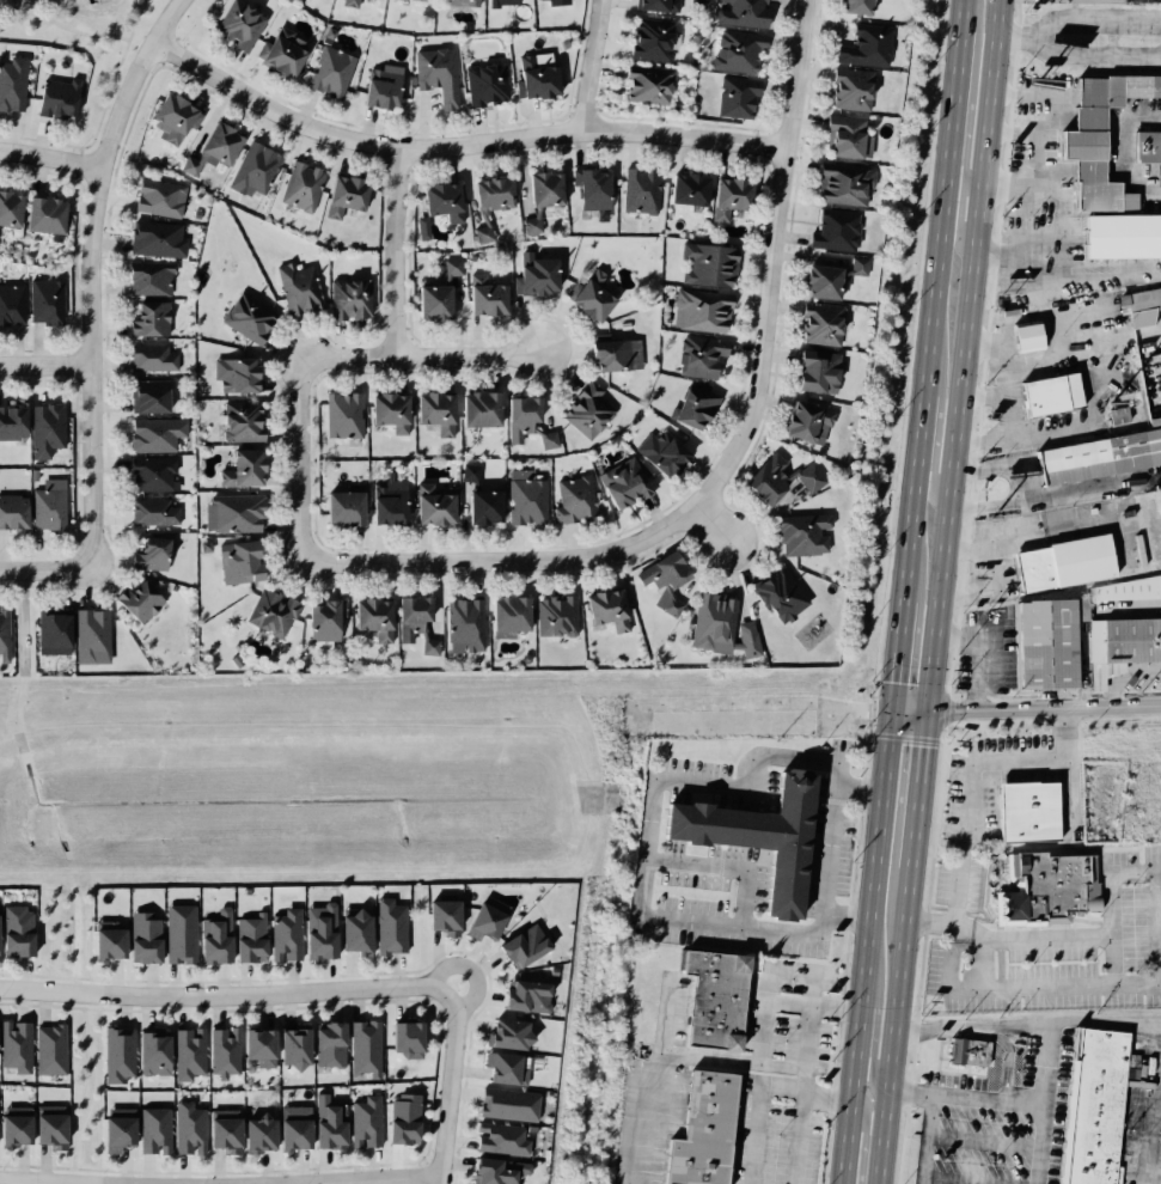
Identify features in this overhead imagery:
building: (424, 0)
building: (460, 0)
building: (350, 1)
building: (497, 2)
building: (561, 2)
building: (644, 4)
building: (851, 7)
building: (739, 13)
road: (1077, 22)
building: (234, 24)
road: (61, 25)
building: (648, 37)
building: (862, 43)
park: (85, 44)
building: (738, 49)
building: (280, 51)
road: (1094, 59)
road: (582, 65)
building: (434, 72)
building: (328, 73)
building: (532, 79)
road: (110, 81)
building: (641, 81)
building: (484, 83)
building: (11, 84)
building: (378, 85)
building: (851, 90)
road: (1008, 91)
building: (55, 94)
building: (735, 97)
building: (172, 116)
road: (1010, 133)
building: (1094, 134)
building: (843, 135)
road: (456, 140)
building: (1144, 145)
building: (212, 146)
road: (1034, 146)
road: (49, 158)
building: (253, 171)
building: (839, 181)
road: (973, 181)
building: (686, 184)
building: (589, 187)
building: (640, 188)
road: (964, 188)
building: (299, 189)
building: (344, 194)
building: (533, 196)
building: (157, 199)
building: (728, 199)
building: (485, 201)
building: (438, 203)
road: (776, 206)
building: (7, 209)
building: (41, 214)
building: (838, 224)
building: (484, 234)
building: (1118, 237)
building: (153, 239)
road: (395, 251)
building: (709, 266)
building: (452, 267)
building: (532, 269)
building: (818, 271)
road: (86, 274)
building: (146, 276)
building: (295, 286)
building: (349, 295)
building: (481, 295)
building: (43, 299)
building: (587, 300)
building: (432, 301)
building: (10, 304)
building: (1142, 307)
building: (699, 310)
building: (242, 313)
building: (145, 318)
building: (821, 325)
building: (1022, 338)
road: (927, 354)
road: (421, 355)
building: (701, 355)
road: (964, 355)
building: (148, 356)
building: (615, 358)
road: (43, 365)
building: (232, 373)
building: (813, 373)
building: (1148, 379)
building: (147, 393)
building: (1046, 396)
building: (693, 402)
building: (477, 408)
building: (385, 410)
building: (432, 411)
building: (591, 411)
building: (343, 416)
building: (519, 416)
building: (10, 421)
building: (238, 421)
building: (808, 422)
building: (45, 427)
building: (153, 433)
building: (545, 439)
building: (664, 453)
road: (305, 458)
building: (1098, 458)
building: (242, 465)
road: (934, 469)
building: (148, 472)
building: (771, 477)
building: (619, 482)
road: (1016, 488)
road: (1082, 489)
building: (524, 496)
building: (478, 498)
building: (573, 498)
building: (385, 502)
building: (432, 502)
building: (47, 503)
building: (340, 507)
building: (12, 508)
building: (152, 511)
building: (226, 512)
road: (708, 526)
building: (799, 533)
building: (148, 554)
road: (562, 560)
building: (239, 561)
building: (1061, 563)
road: (44, 570)
building: (667, 573)
road: (997, 575)
building: (1125, 590)
building: (778, 591)
building: (138, 600)
building: (601, 609)
building: (506, 612)
building: (269, 614)
building: (409, 614)
building: (552, 616)
building: (374, 617)
building: (319, 620)
building: (714, 621)
building: (462, 627)
building: (49, 633)
building: (4, 634)
building: (88, 634)
building: (1128, 639)
building: (748, 642)
building: (1039, 642)
building: (428, 647)
road: (985, 647)
road: (1122, 676)
road: (1025, 708)
traffic signals: (891, 710)
traffic signals: (927, 712)
building: (732, 721)
road: (970, 795)
building: (1023, 810)
building: (759, 836)
road: (728, 866)
building: (1043, 886)
road: (638, 890)
building: (445, 915)
building: (485, 920)
road: (844, 920)
building: (390, 926)
building: (22, 930)
building: (320, 930)
building: (356, 933)
building: (139, 934)
building: (177, 934)
building: (285, 936)
building: (215, 938)
building: (251, 938)
road: (1032, 938)
building: (103, 941)
building: (528, 945)
road: (864, 946)
road: (902, 947)
road: (1159, 959)
road: (471, 968)
road: (228, 994)
building: (531, 995)
building: (713, 1000)
road: (765, 1025)
road: (1105, 1025)
road: (971, 1026)
building: (509, 1032)
building: (402, 1038)
building: (334, 1043)
building: (14, 1045)
building: (258, 1046)
building: (50, 1049)
building: (294, 1049)
building: (367, 1049)
building: (965, 1051)
building: (222, 1052)
road: (870, 1052)
building: (116, 1054)
building: (153, 1054)
building: (188, 1054)
building: (508, 1067)
road: (92, 1086)
park: (84, 1087)
road: (450, 1091)
road: (757, 1093)
road: (965, 1098)
building: (512, 1104)
road: (1043, 1104)
building: (1089, 1106)
building: (399, 1117)
building: (367, 1122)
building: (328, 1123)
building: (293, 1127)
road: (637, 1127)
building: (14, 1129)
building: (189, 1129)
parking lot: (986, 1129)
building: (50, 1130)
building: (154, 1130)
building: (697, 1130)
building: (116, 1131)
building: (225, 1133)
building: (257, 1135)
road: (863, 1135)
road: (921, 1139)
building: (505, 1140)
road: (796, 1140)
building: (502, 1171)
road: (372, 1178)
road: (77, 1182)

